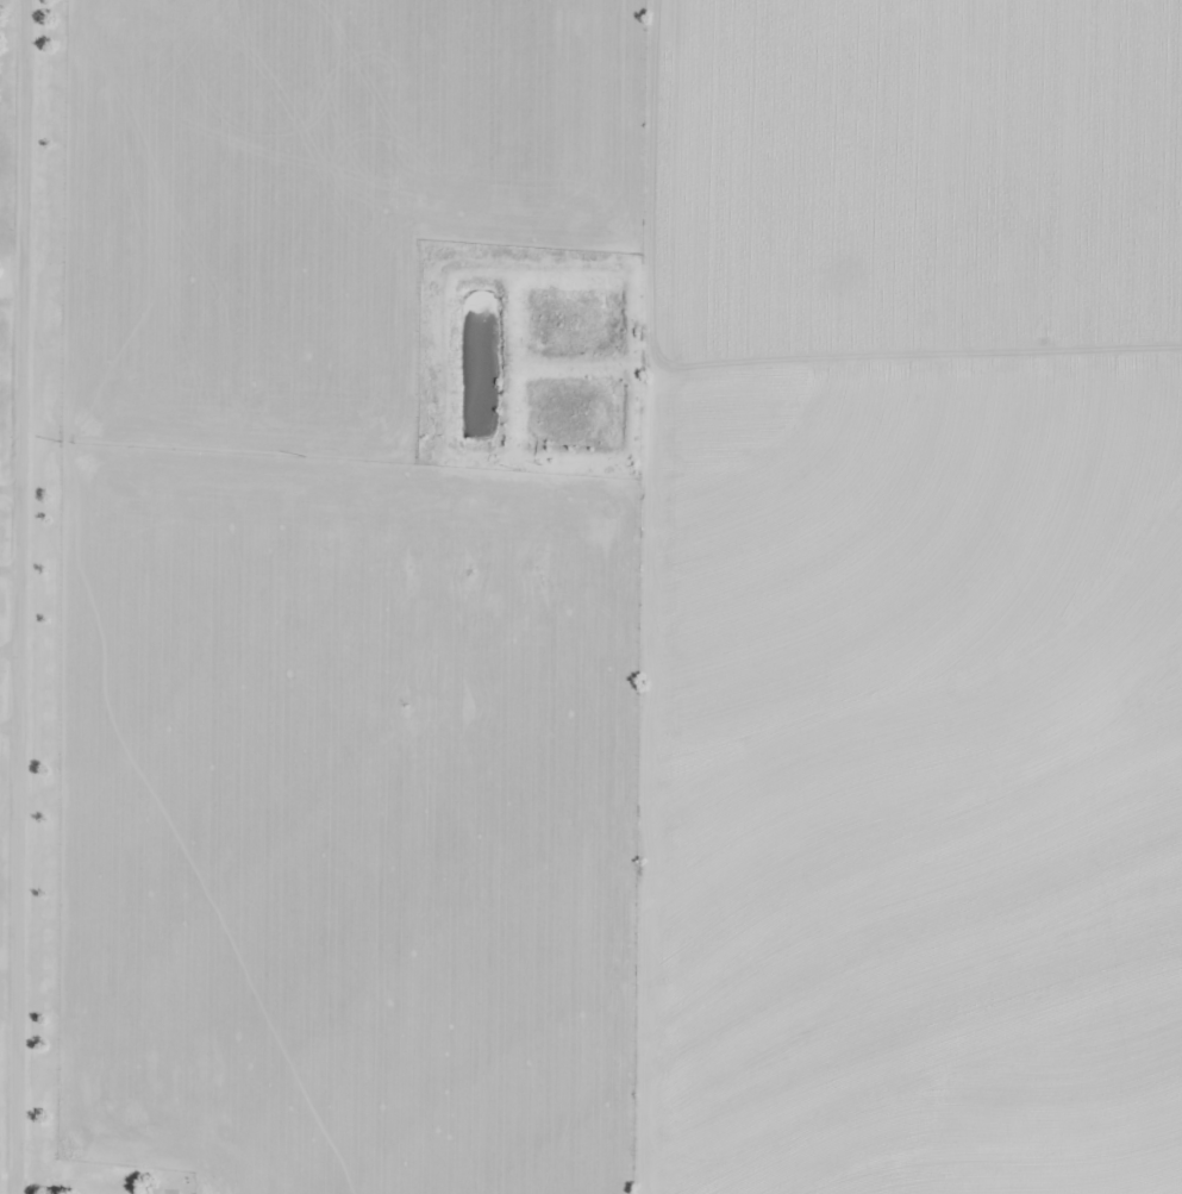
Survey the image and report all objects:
road: (27, 596)

